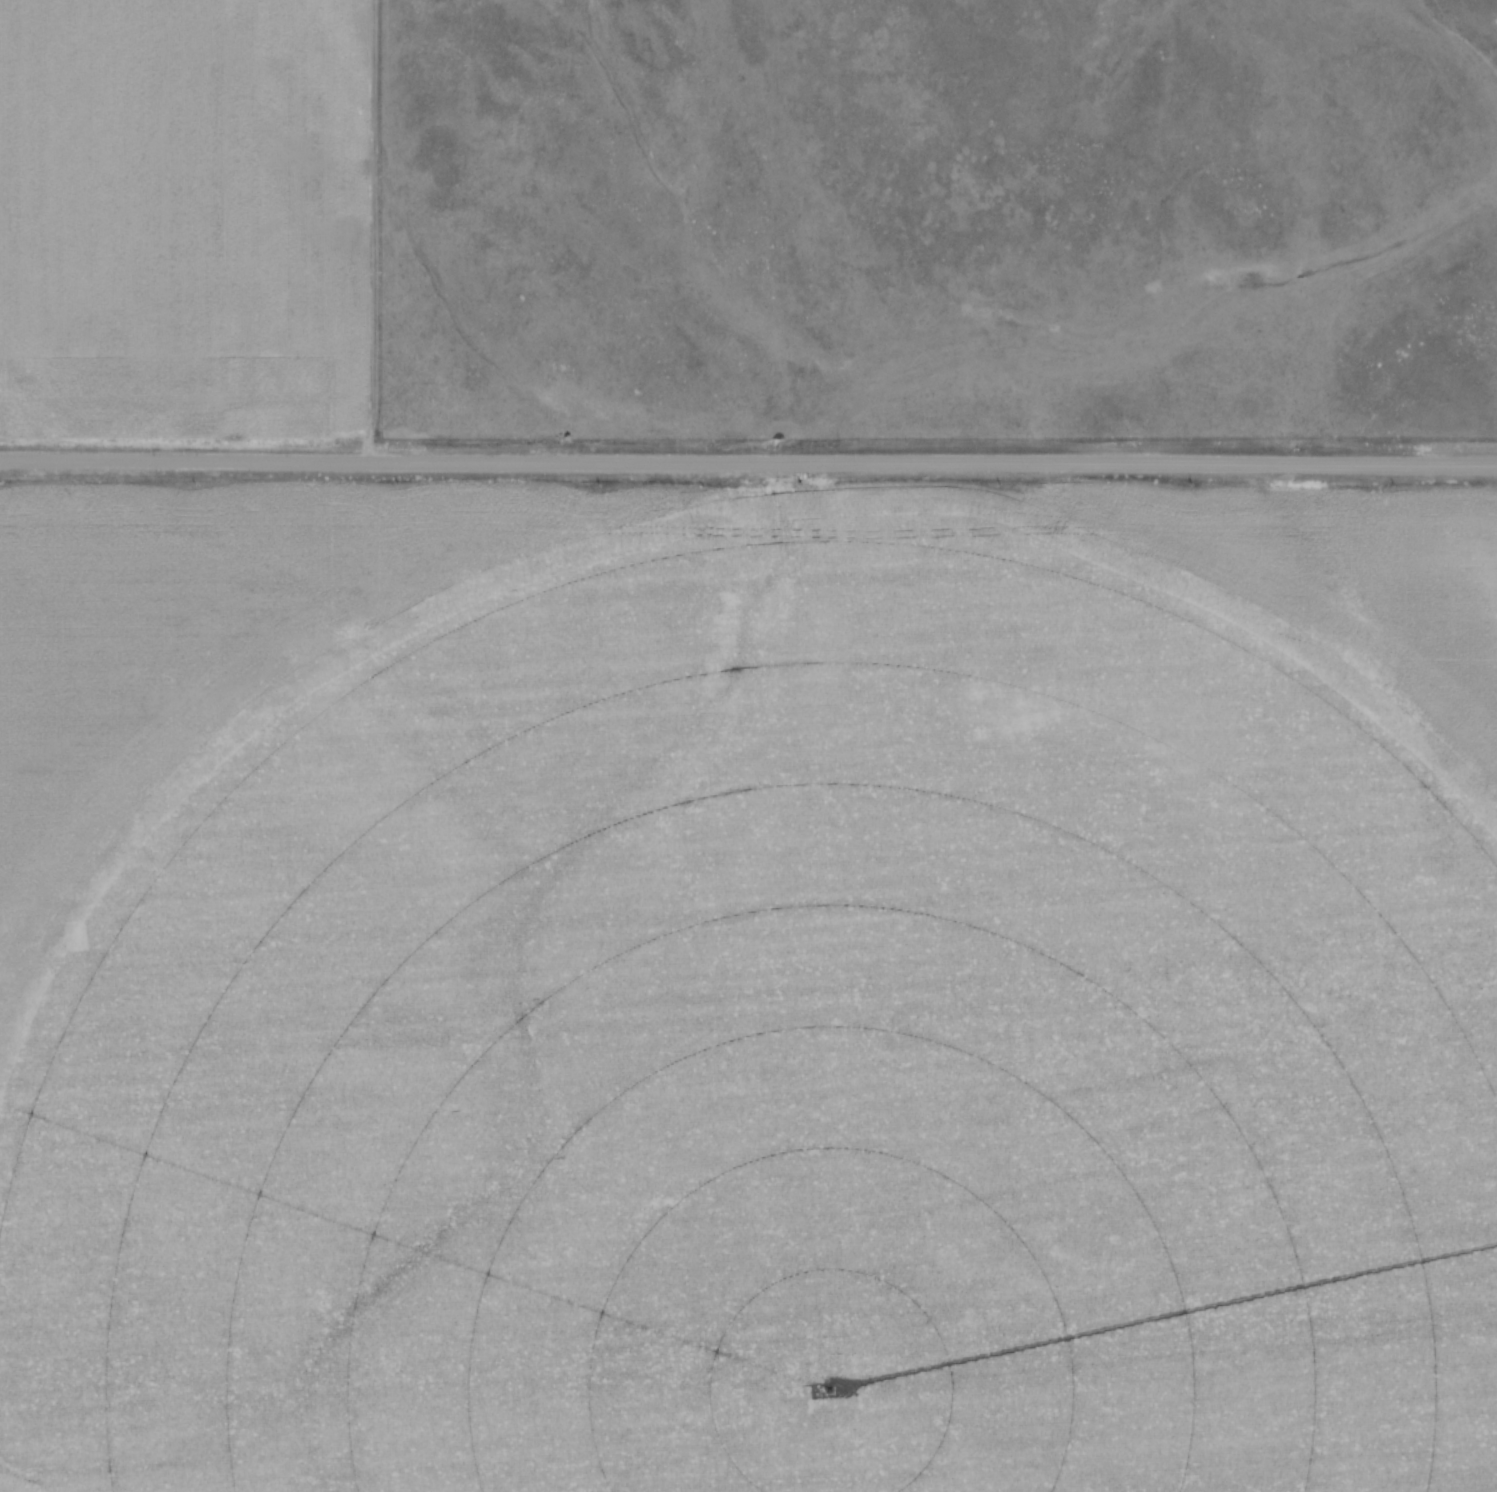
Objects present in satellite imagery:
crop: (109, 218)
road: (748, 467)
crop: (748, 991)

